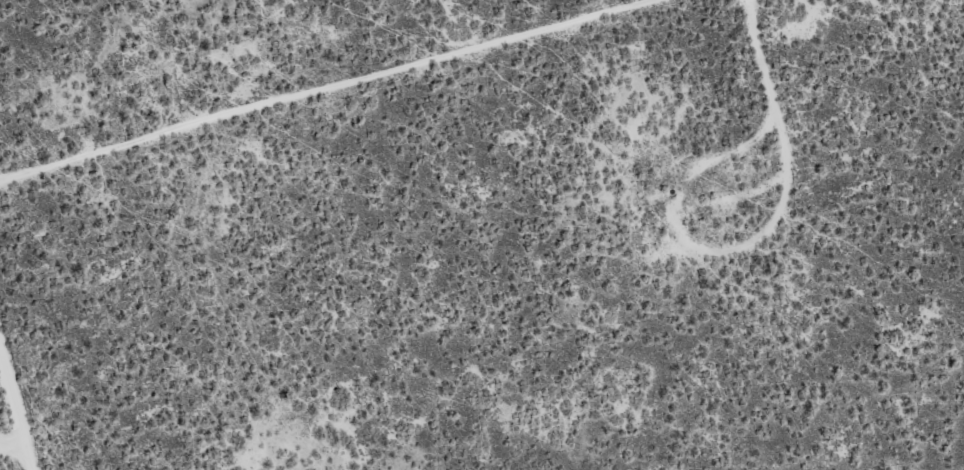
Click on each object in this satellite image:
road: (25, 373)

